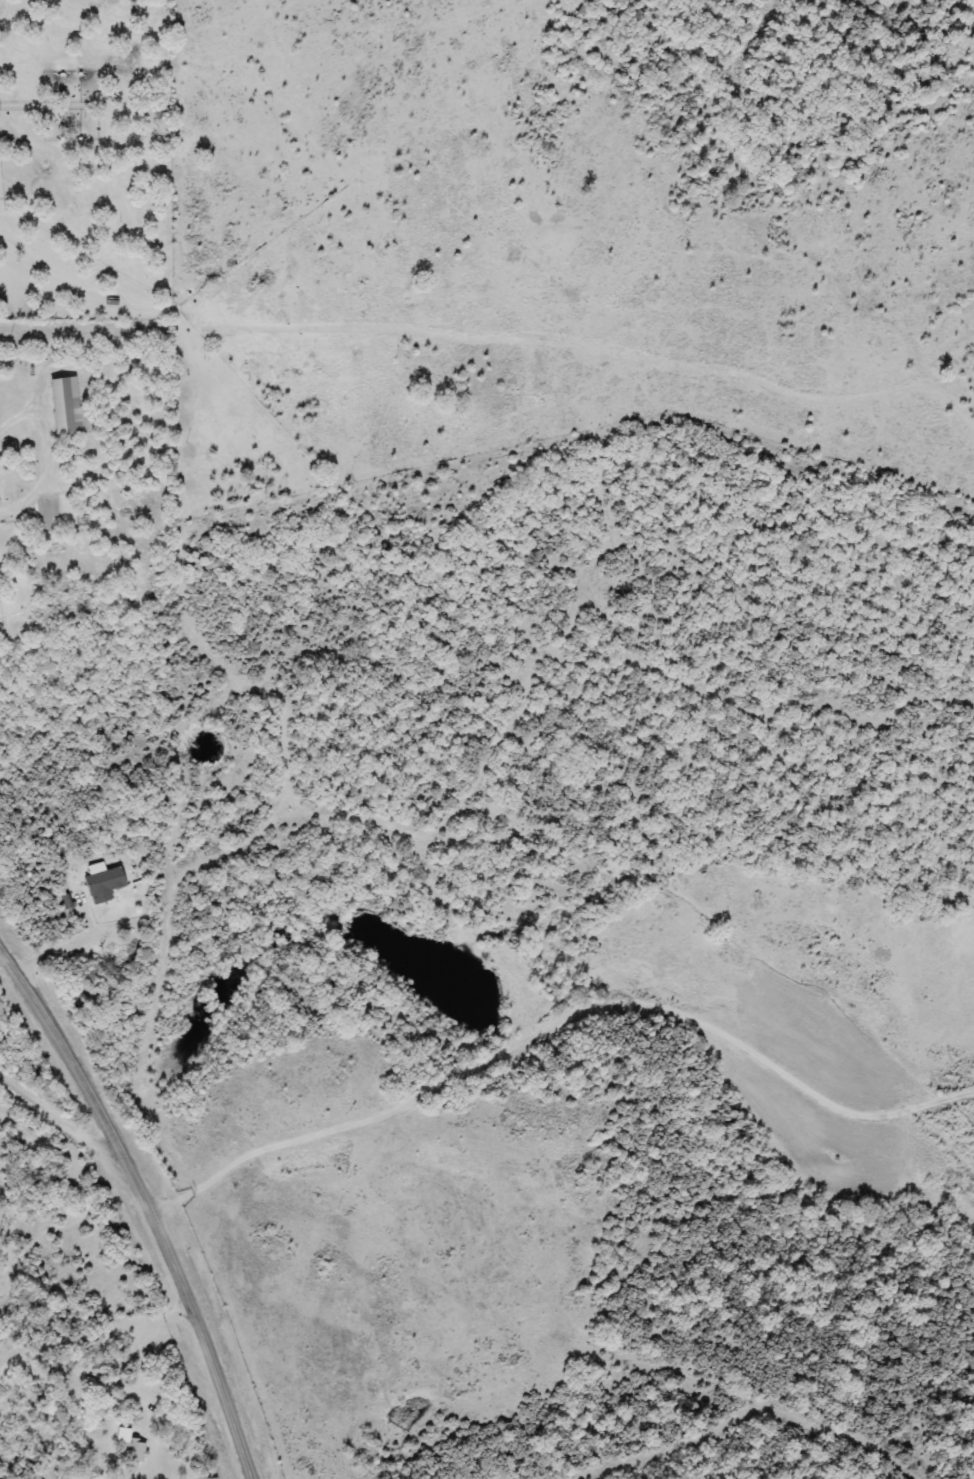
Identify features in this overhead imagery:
road: (250, 347)
building: (67, 408)
road: (47, 454)
building: (104, 885)
road: (559, 1018)
road: (67, 1121)
road: (153, 1202)
road: (146, 1346)
road: (745, 1409)
building: (132, 1452)

